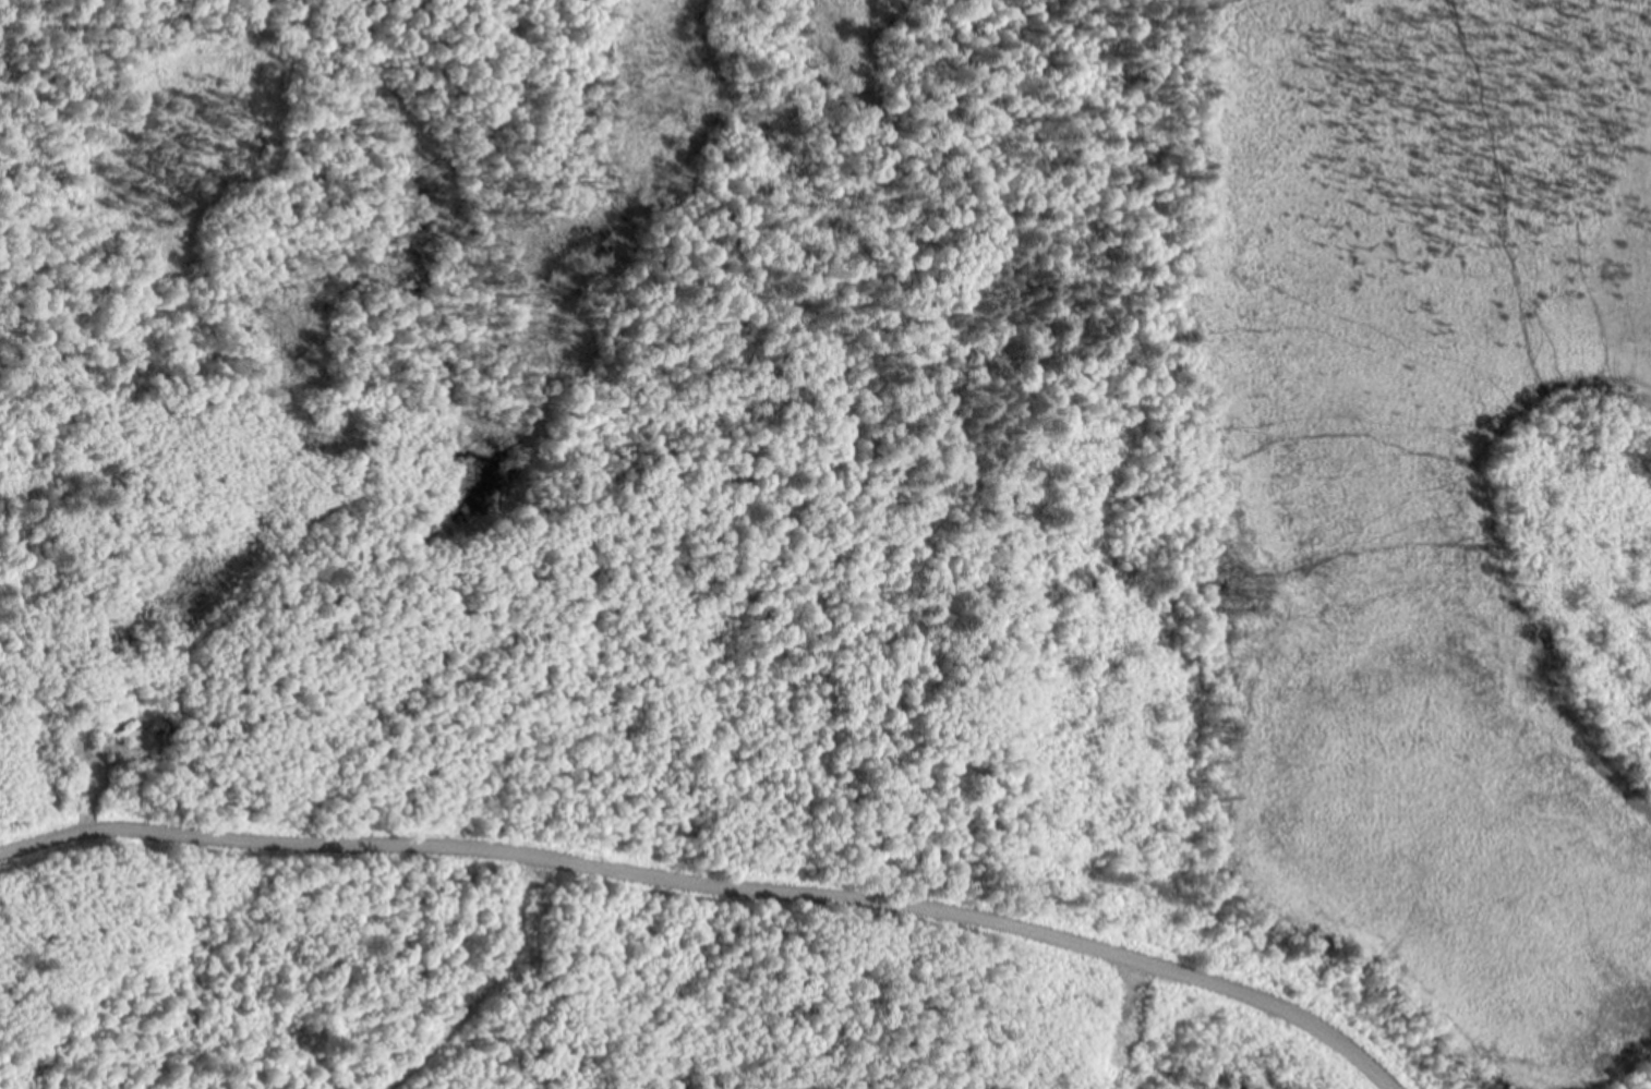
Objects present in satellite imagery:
road: (708, 893)

